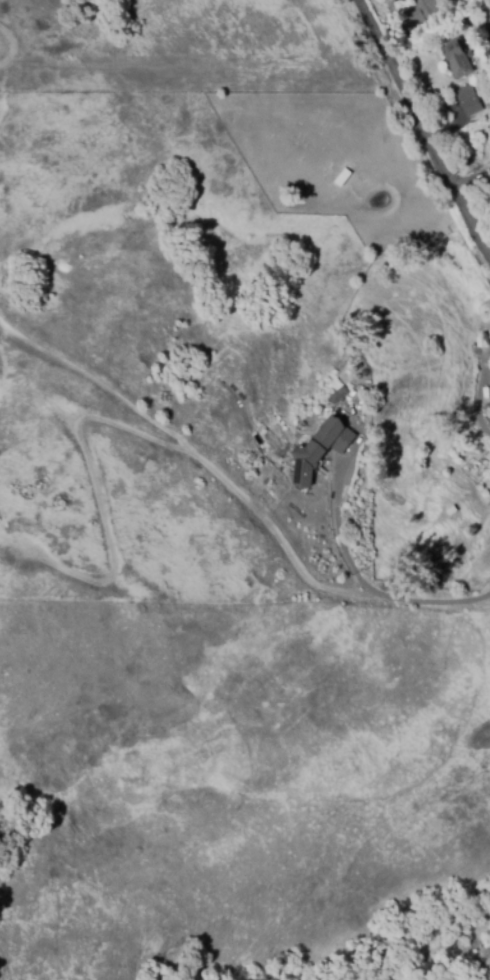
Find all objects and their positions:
building: (422, 13)
building: (457, 58)
building: (468, 100)
road: (422, 127)
building: (489, 169)
building: (338, 394)
building: (489, 404)
building: (320, 451)
road: (366, 584)

